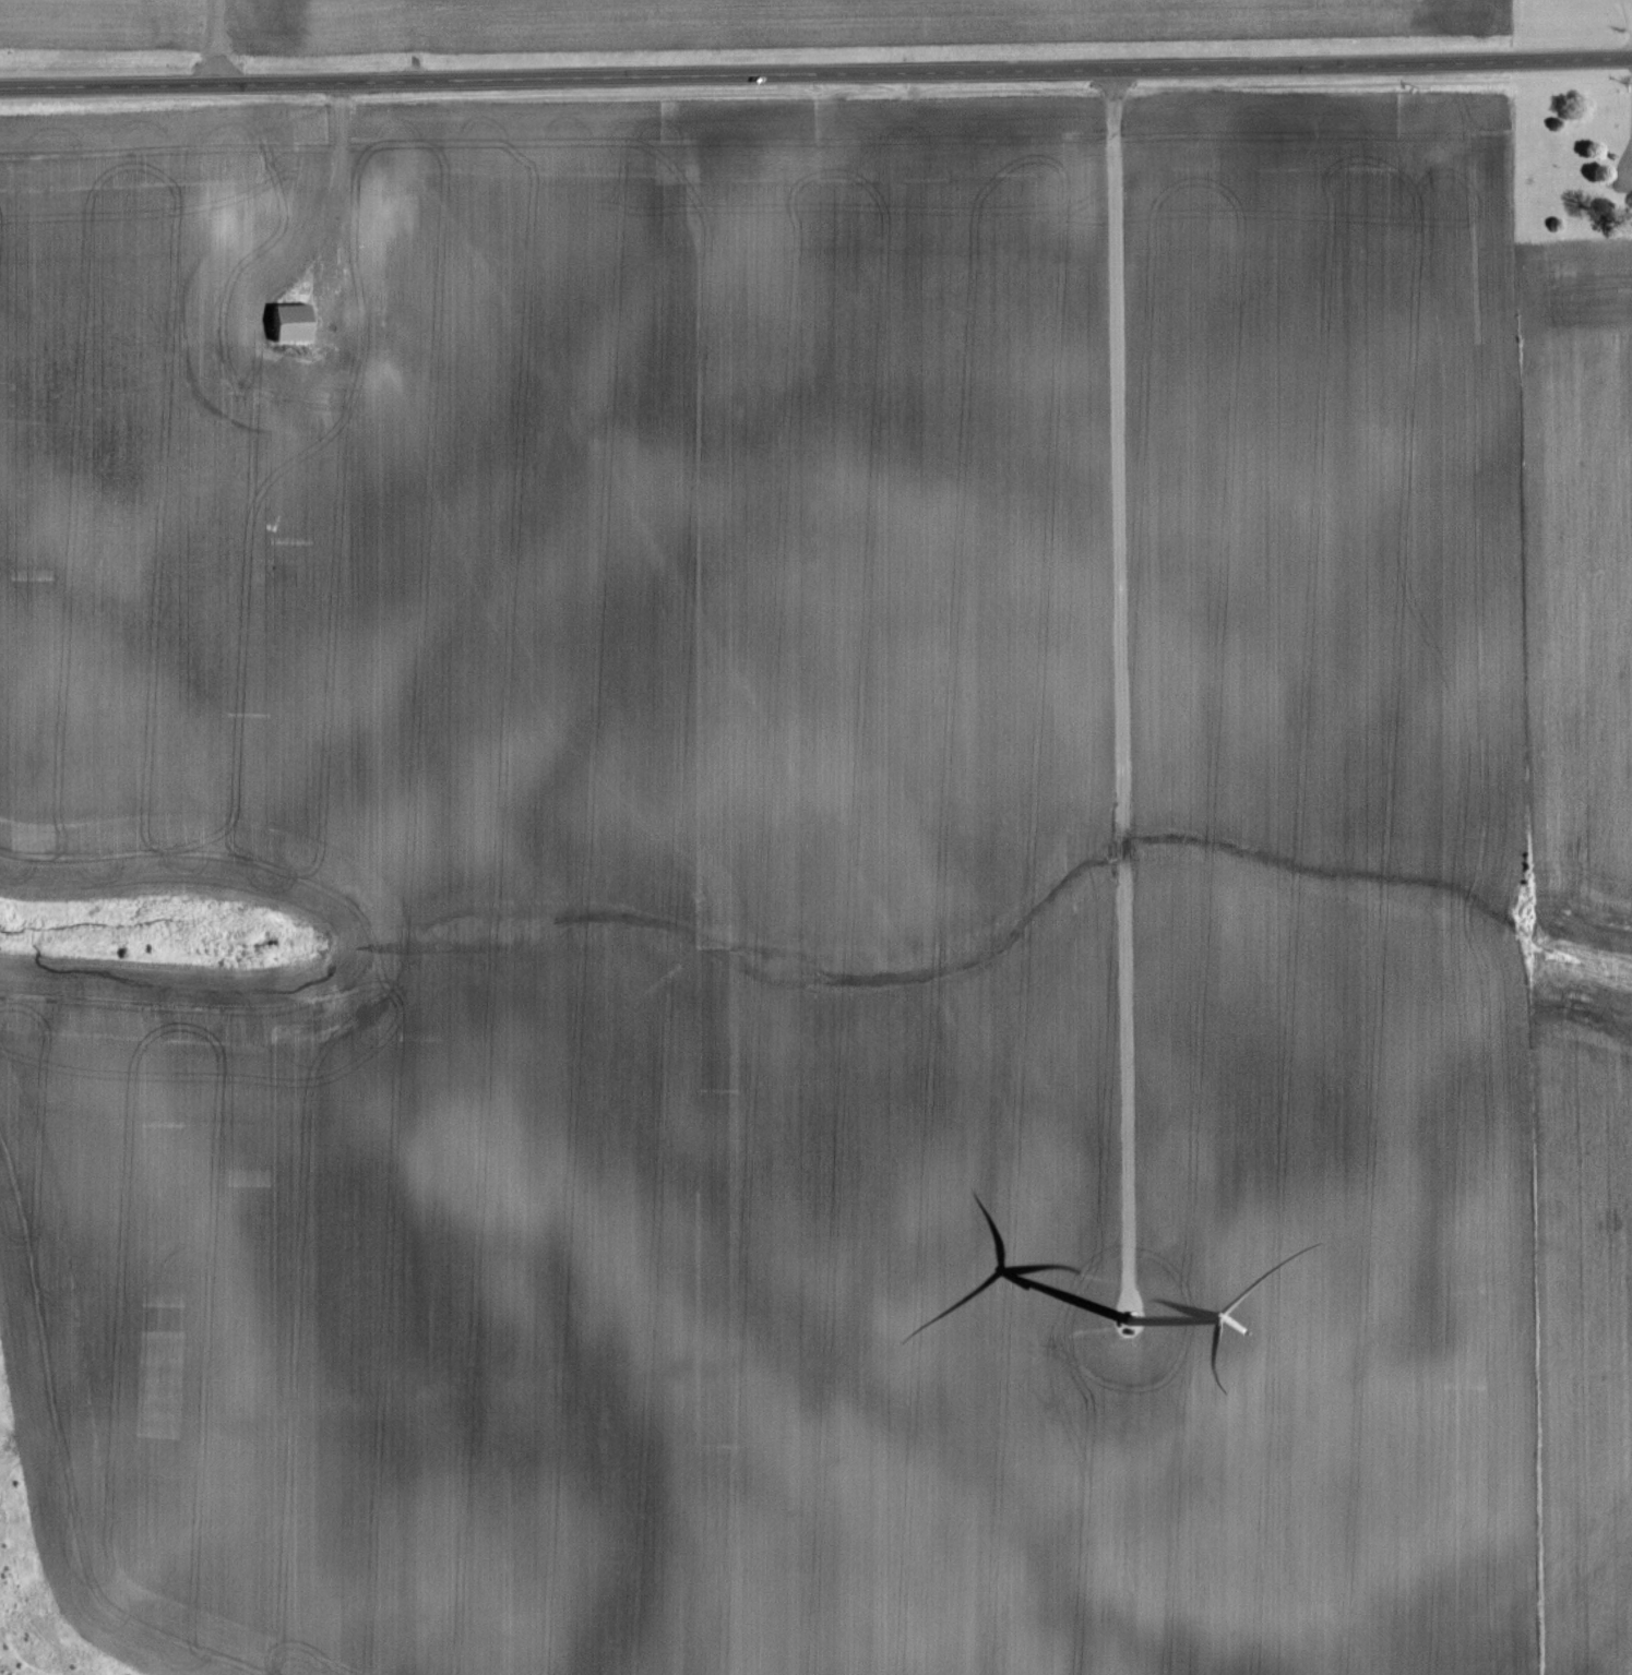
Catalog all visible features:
road: (1631, 0)
road: (217, 40)
road: (815, 72)
road: (1631, 171)
road: (338, 200)
road: (1122, 685)
wind turbine: (1136, 1327)

